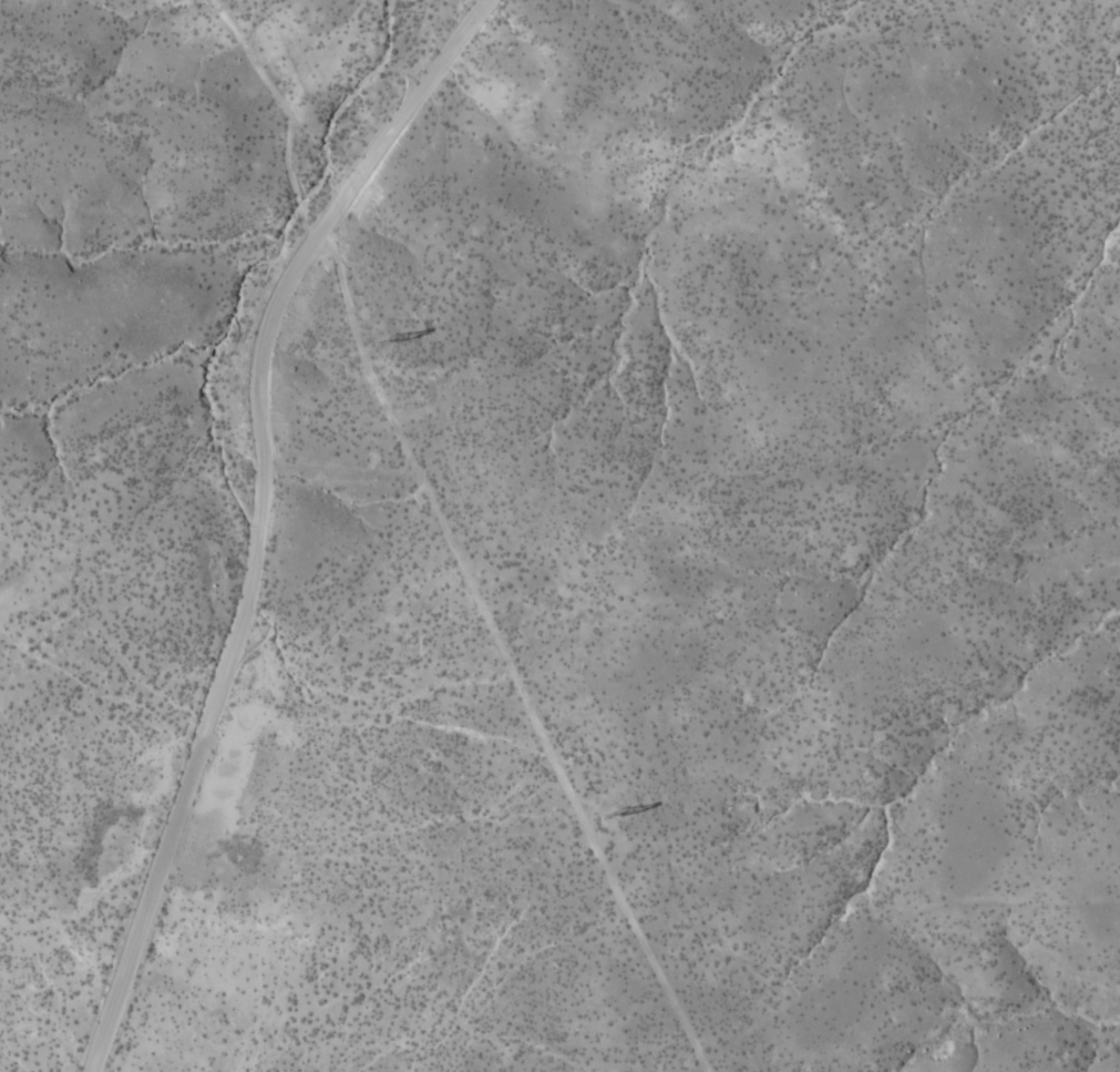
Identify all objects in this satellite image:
power tower: (388, 339)
road: (257, 515)
power tower: (613, 814)

